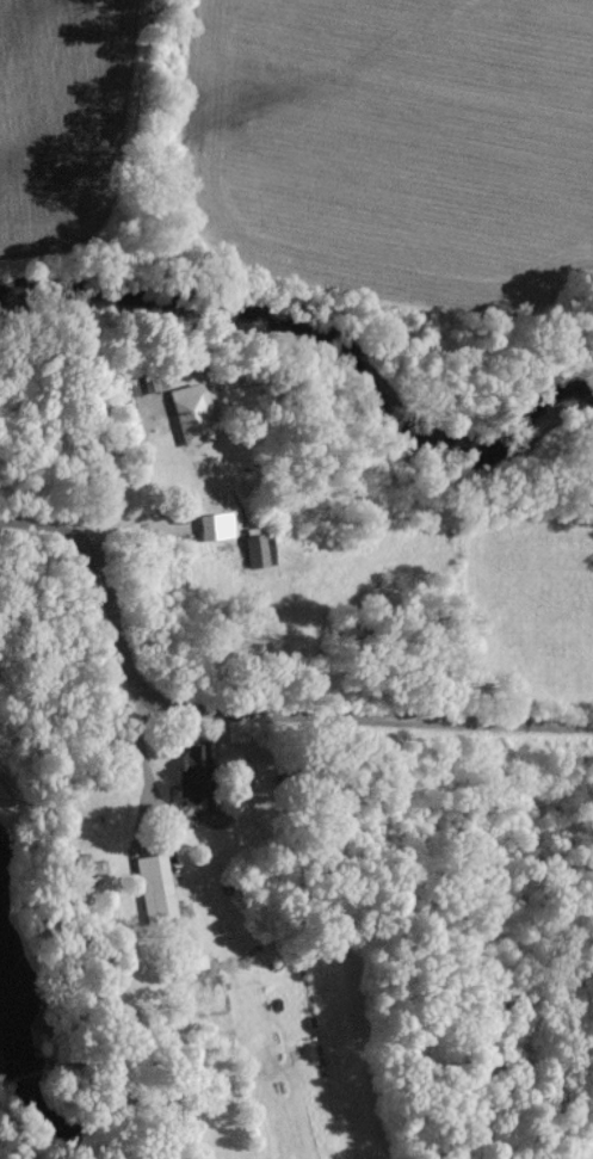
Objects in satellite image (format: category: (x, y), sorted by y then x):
building: (192, 413)
building: (217, 524)
building: (257, 549)
road: (241, 713)
building: (197, 769)
building: (156, 888)

